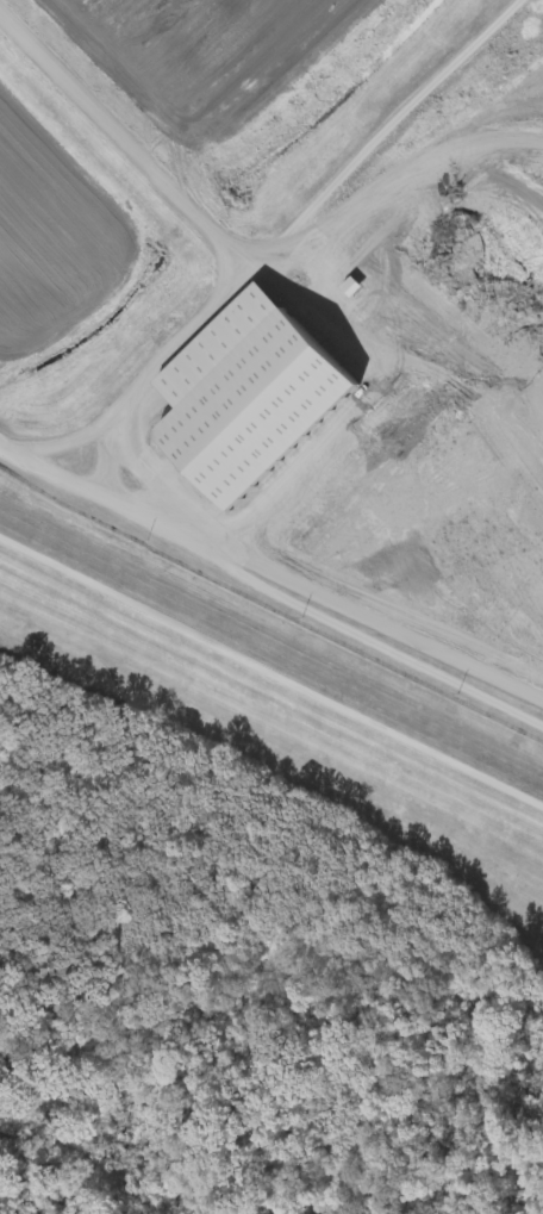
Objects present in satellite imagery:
road: (274, 248)
wastewater plant: (287, 371)
building: (256, 394)
road: (271, 677)

